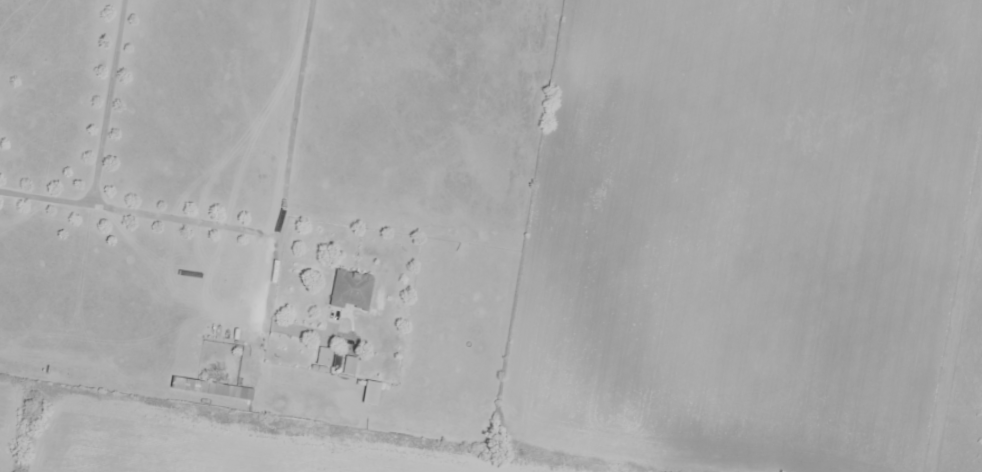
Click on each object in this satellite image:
road: (91, 140)
road: (278, 194)
road: (177, 215)
building: (349, 289)
building: (322, 356)
building: (210, 386)
road: (116, 389)

